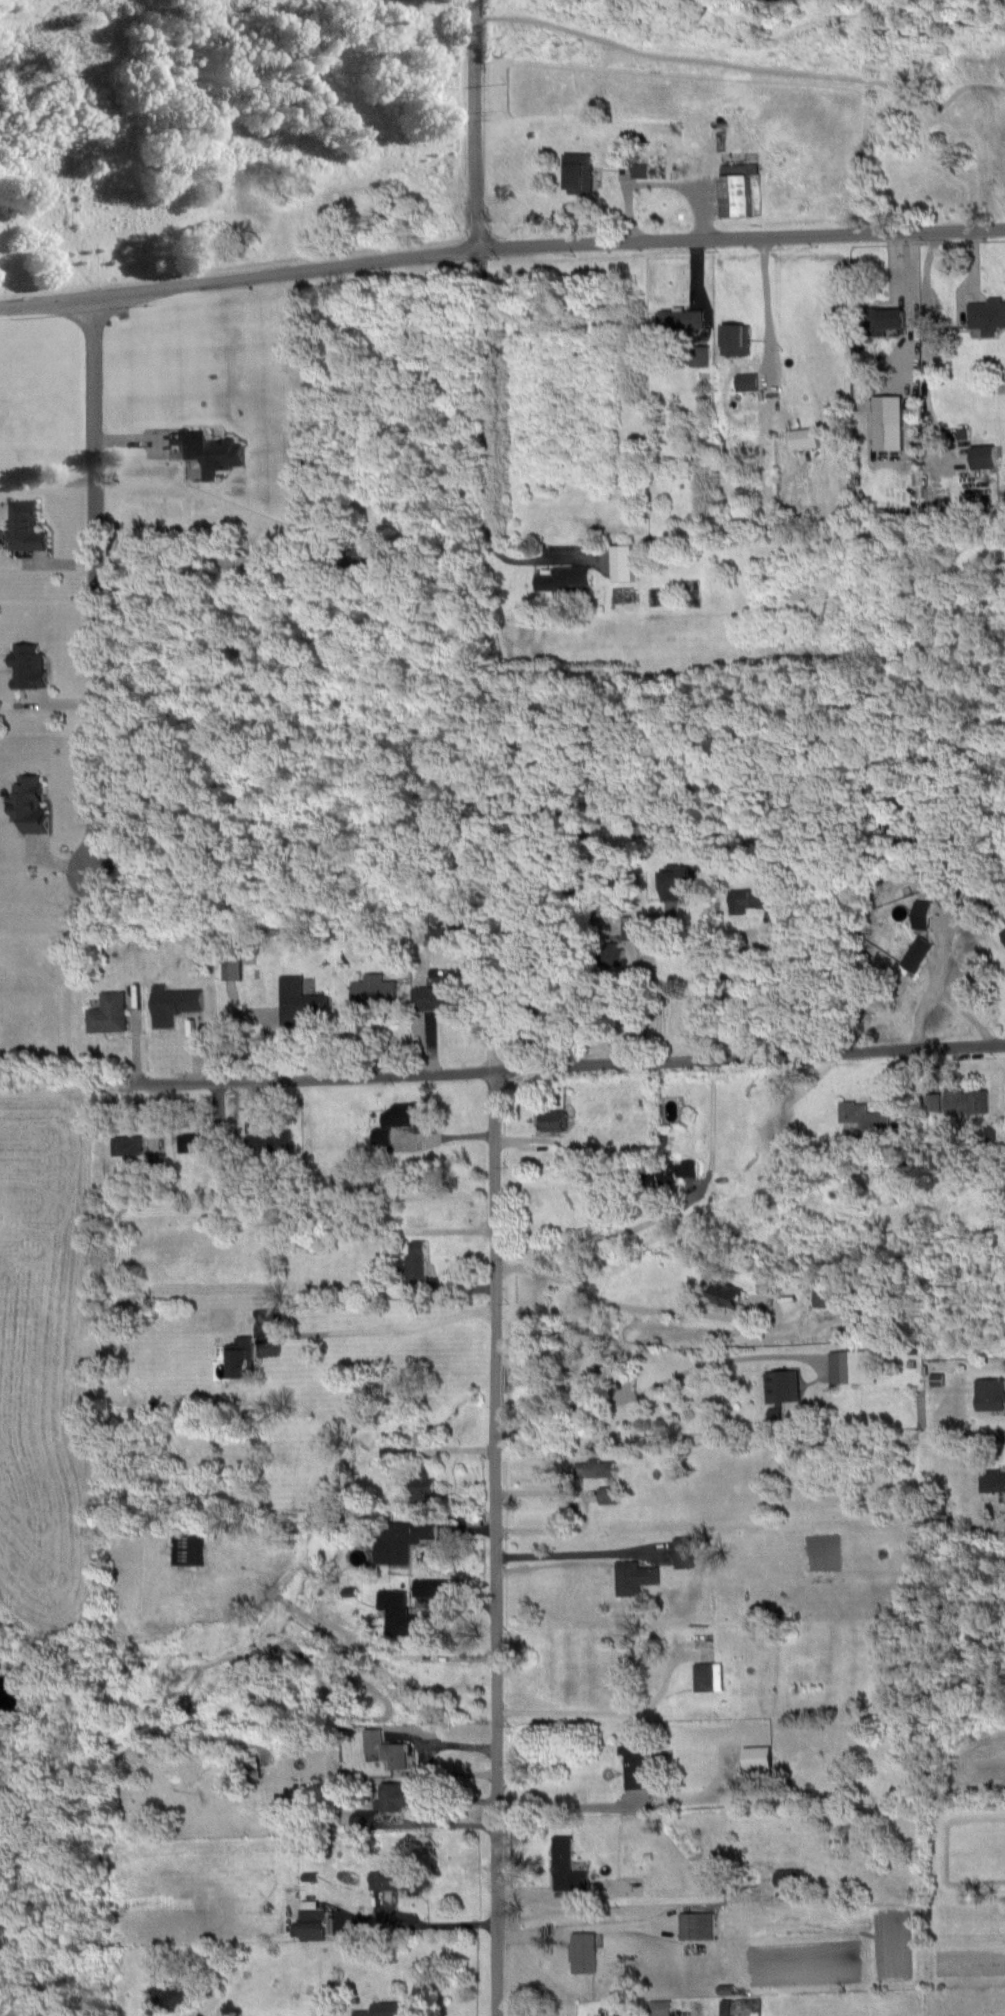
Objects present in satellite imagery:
road: (959, 59)
road: (896, 61)
road: (475, 124)
building: (580, 172)
building: (642, 172)
road: (661, 182)
building: (736, 189)
road: (500, 246)
road: (764, 301)
building: (987, 315)
building: (678, 319)
building: (882, 319)
building: (734, 339)
building: (700, 355)
building: (747, 381)
building: (888, 422)
building: (805, 438)
building: (212, 452)
building: (983, 457)
building: (25, 525)
building: (623, 562)
building: (562, 581)
road: (94, 582)
building: (28, 664)
building: (29, 801)
building: (539, 814)
building: (678, 882)
building: (753, 897)
road: (489, 903)
building: (922, 914)
building: (440, 930)
building: (1004, 931)
road: (735, 953)
building: (916, 953)
building: (611, 955)
building: (542, 957)
building: (232, 969)
road: (652, 982)
building: (372, 990)
road: (554, 990)
building: (437, 995)
building: (297, 1000)
building: (173, 1004)
road: (641, 1007)
building: (108, 1013)
road: (487, 1029)
road: (502, 1067)
building: (966, 1100)
building: (934, 1102)
building: (408, 1114)
building: (863, 1116)
building: (552, 1119)
building: (381, 1136)
building: (193, 1142)
building: (269, 1142)
building: (127, 1145)
building: (156, 1160)
building: (669, 1172)
road: (664, 1214)
building: (415, 1265)
building: (725, 1294)
building: (823, 1298)
road: (612, 1301)
road: (382, 1329)
building: (240, 1355)
building: (852, 1366)
building: (936, 1379)
road: (655, 1385)
building: (782, 1385)
building: (991, 1393)
building: (774, 1413)
building: (597, 1468)
building: (992, 1481)
building: (424, 1485)
road: (545, 1492)
building: (609, 1495)
building: (401, 1539)
road: (495, 1541)
building: (187, 1548)
building: (683, 1552)
road: (576, 1554)
building: (633, 1577)
building: (435, 1587)
building: (399, 1614)
building: (707, 1675)
road: (603, 1709)
building: (386, 1748)
building: (756, 1757)
road: (425, 1760)
building: (635, 1760)
building: (254, 1766)
road: (446, 1790)
building: (392, 1796)
road: (567, 1804)
building: (367, 1820)
road: (444, 1823)
building: (567, 1866)
building: (786, 1877)
building: (398, 1878)
building: (310, 1904)
building: (309, 1925)
building: (697, 1925)
building: (583, 1952)
building: (741, 2007)
building: (660, 2008)
building: (401, 2009)
building: (361, 2013)

